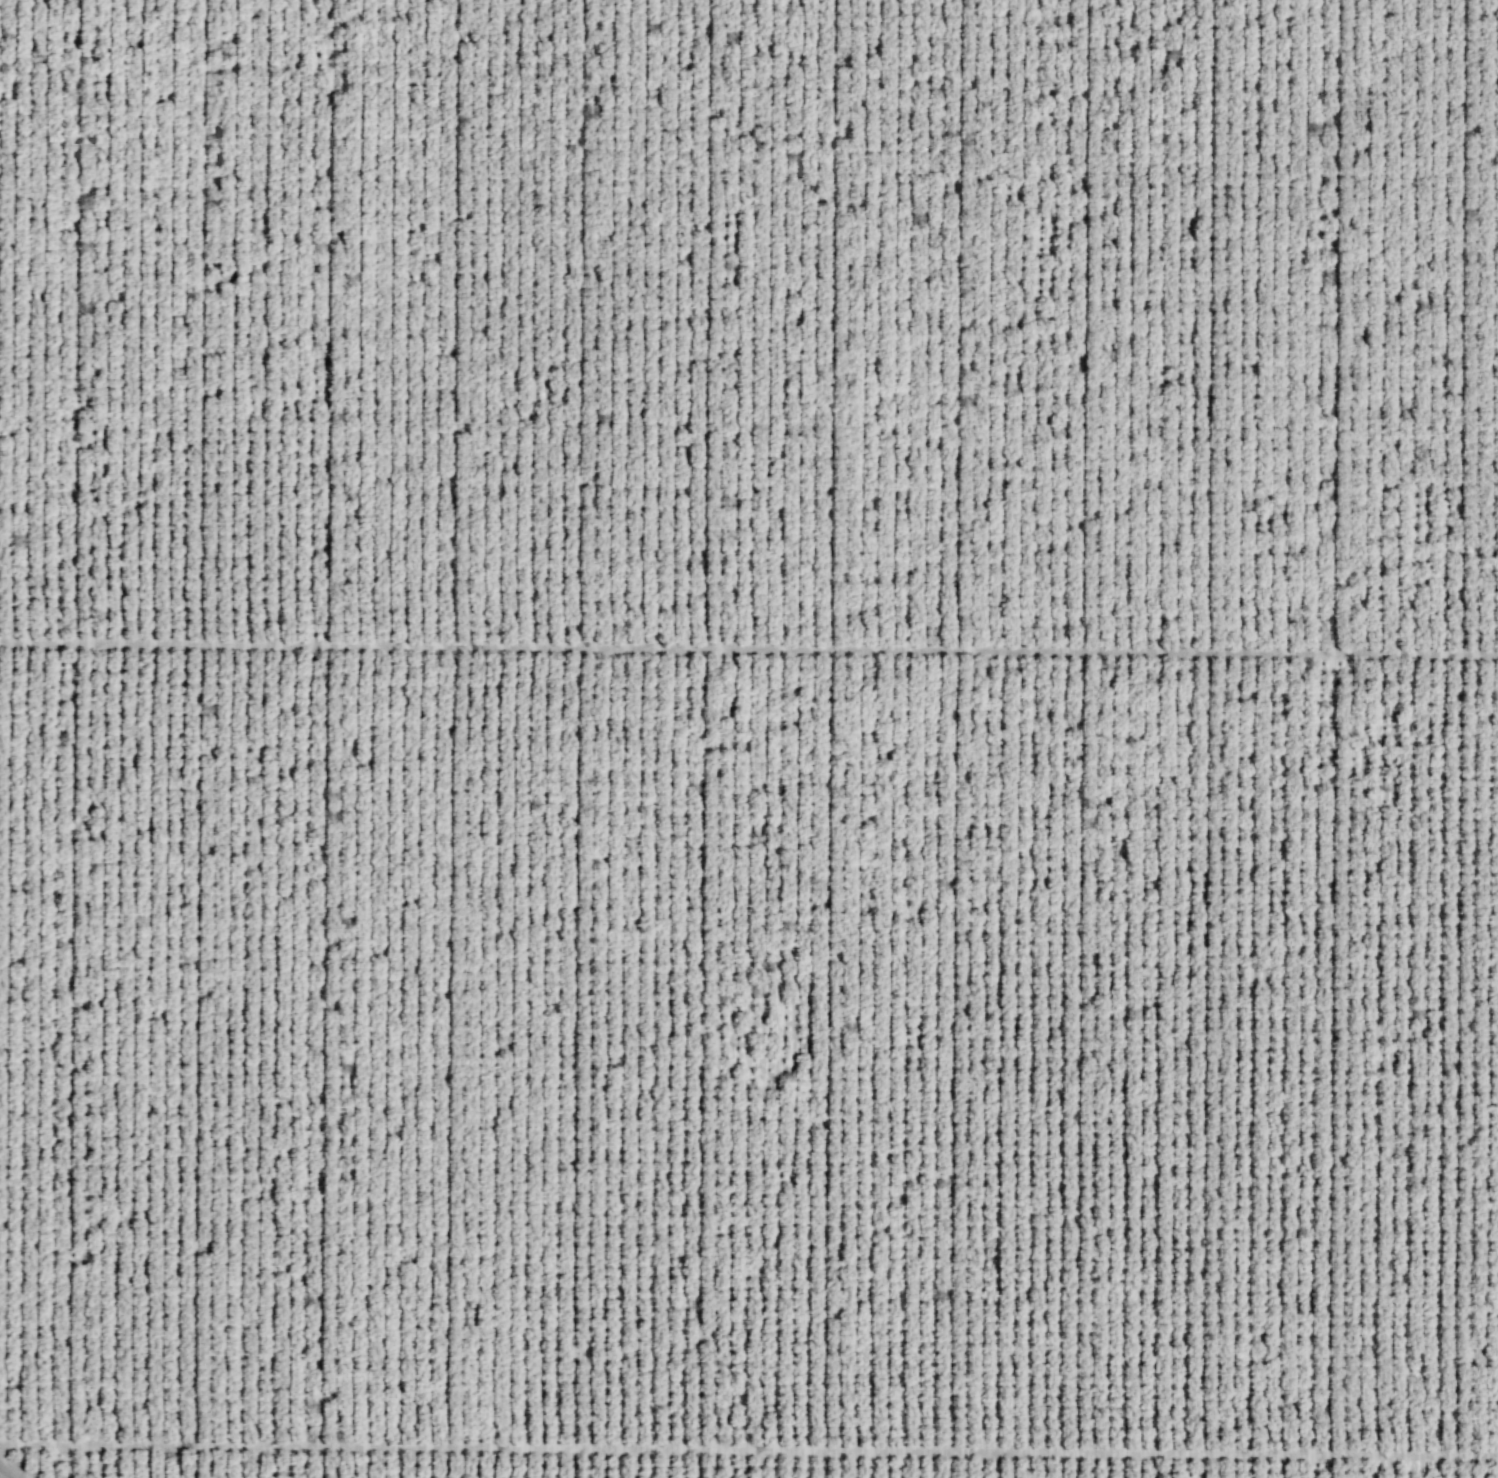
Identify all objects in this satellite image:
road: (749, 647)
road: (748, 1449)
road: (2, 1476)

